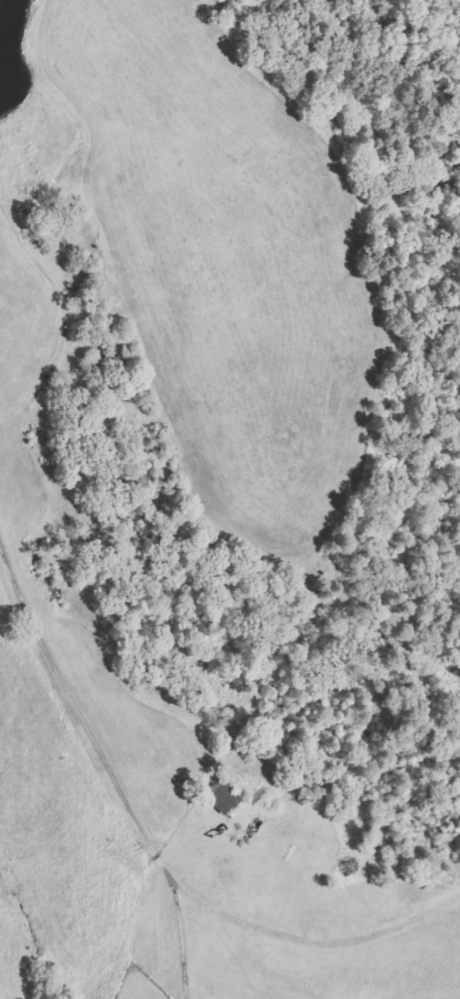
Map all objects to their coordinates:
road: (106, 767)
park: (139, 984)

